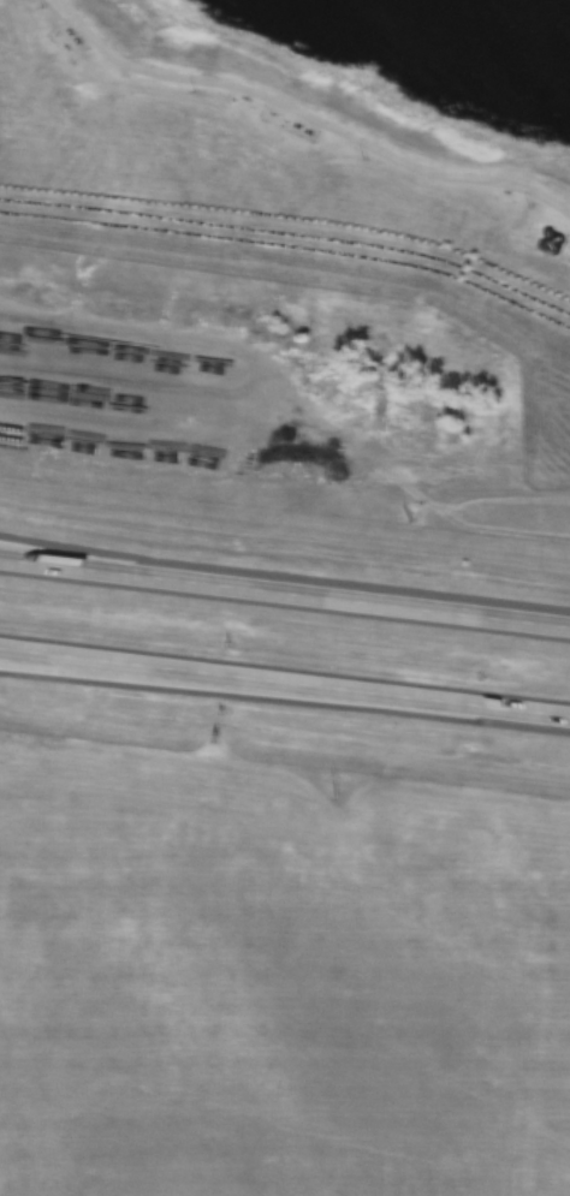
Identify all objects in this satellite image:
road: (89, 393)
road: (368, 464)
road: (285, 595)
road: (285, 684)

